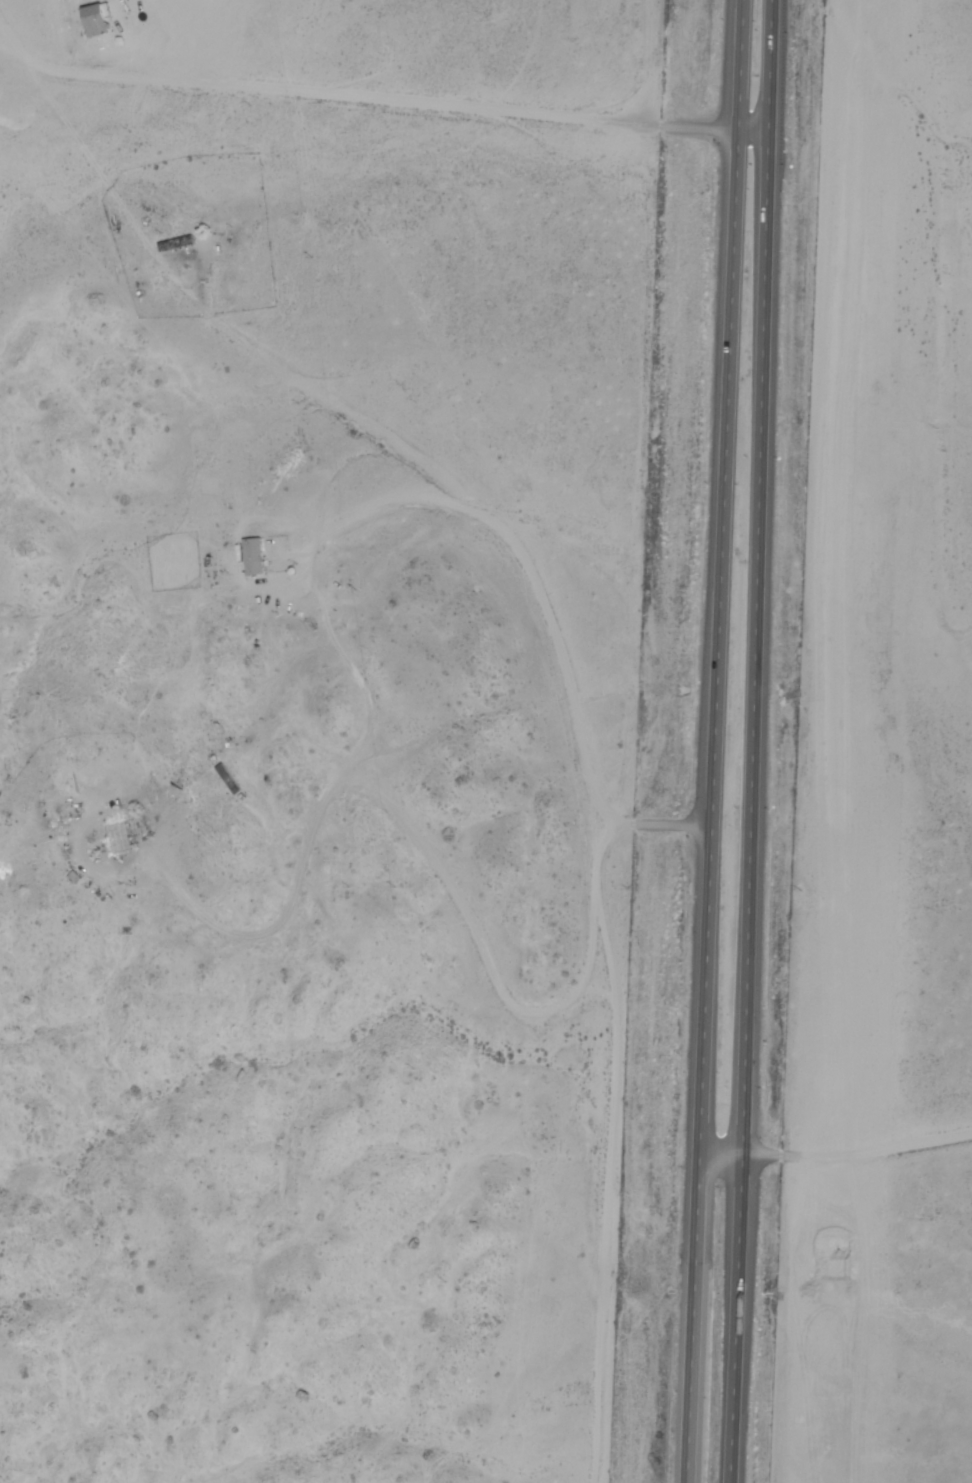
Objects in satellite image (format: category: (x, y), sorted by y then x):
building: (95, 20)
road: (362, 101)
road: (759, 139)
building: (253, 556)
road: (722, 741)
road: (759, 741)
road: (590, 753)
building: (227, 779)
building: (116, 836)
road: (449, 888)
road: (860, 1151)
road: (727, 1166)

